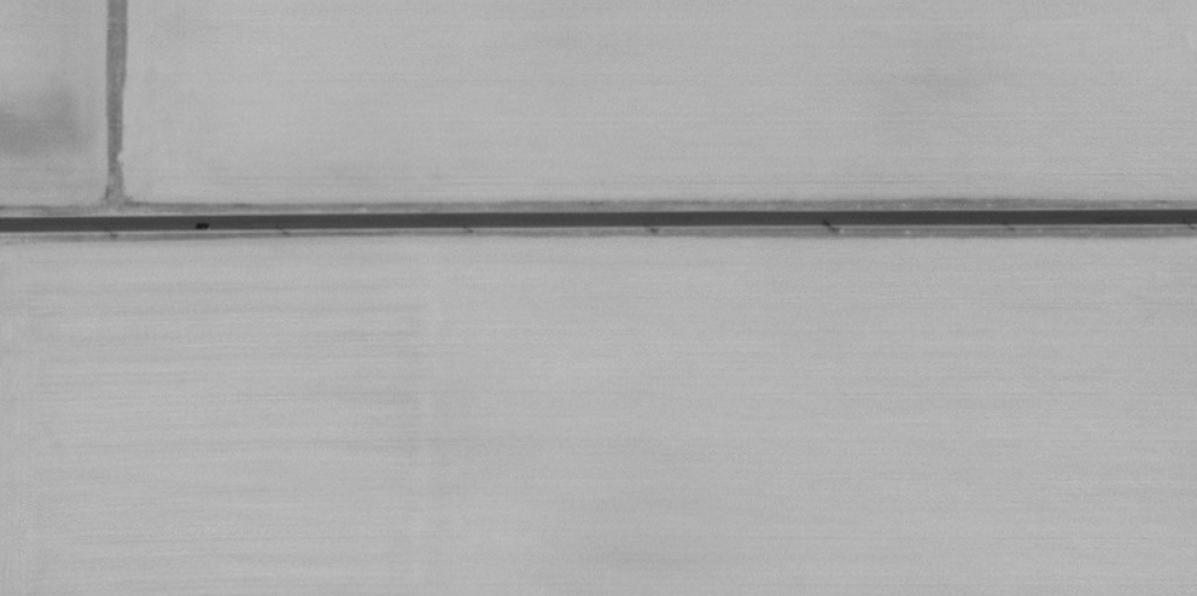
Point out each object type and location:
road: (597, 220)

